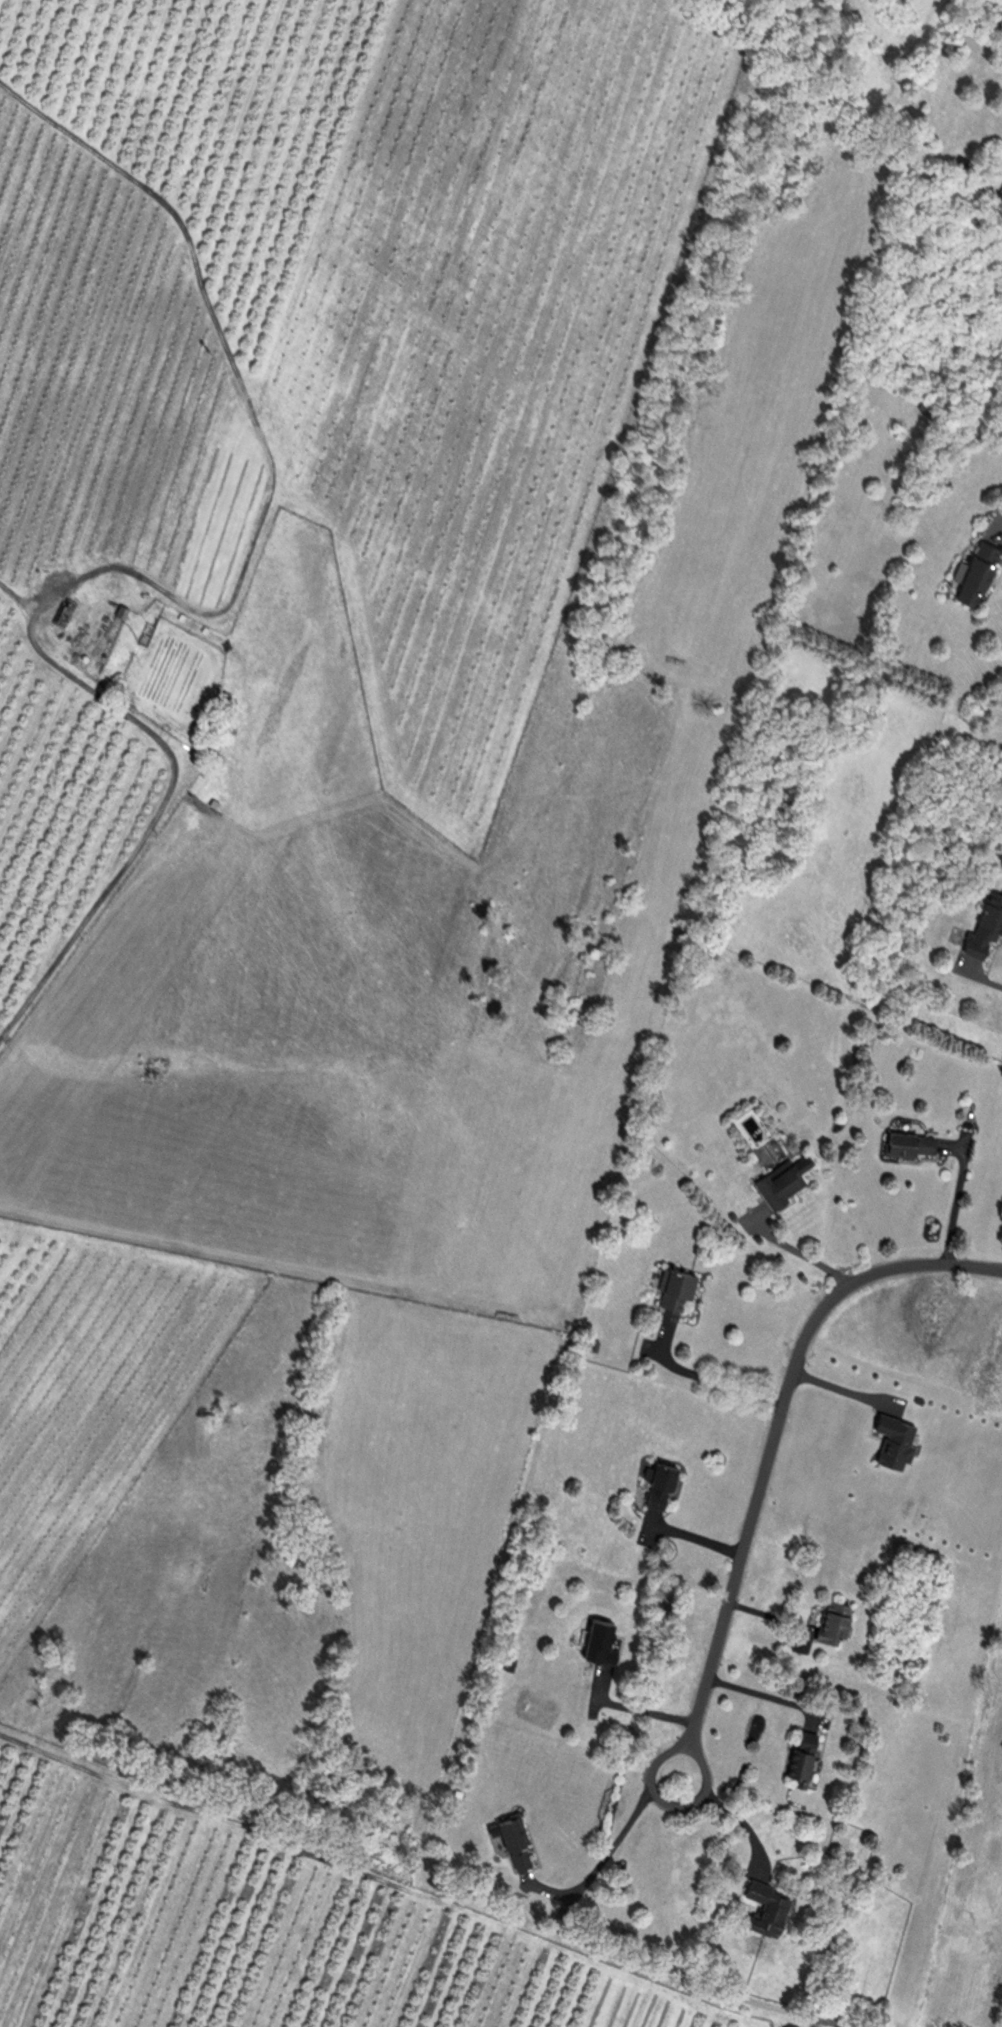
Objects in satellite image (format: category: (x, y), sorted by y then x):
road: (1001, 523)
building: (977, 573)
building: (89, 625)
building: (231, 706)
building: (985, 920)
road: (990, 981)
building: (907, 1143)
building: (784, 1179)
road: (953, 1203)
road: (790, 1247)
building: (680, 1286)
road: (701, 1376)
road: (839, 1388)
road: (771, 1447)
building: (667, 1484)
road: (688, 1536)
building: (829, 1620)
building: (602, 1638)
road: (763, 1695)
road: (630, 1707)
building: (807, 1755)
road: (733, 1813)
building: (517, 1831)
road: (607, 1852)
building: (526, 1860)
building: (773, 1905)
road: (840, 2024)

